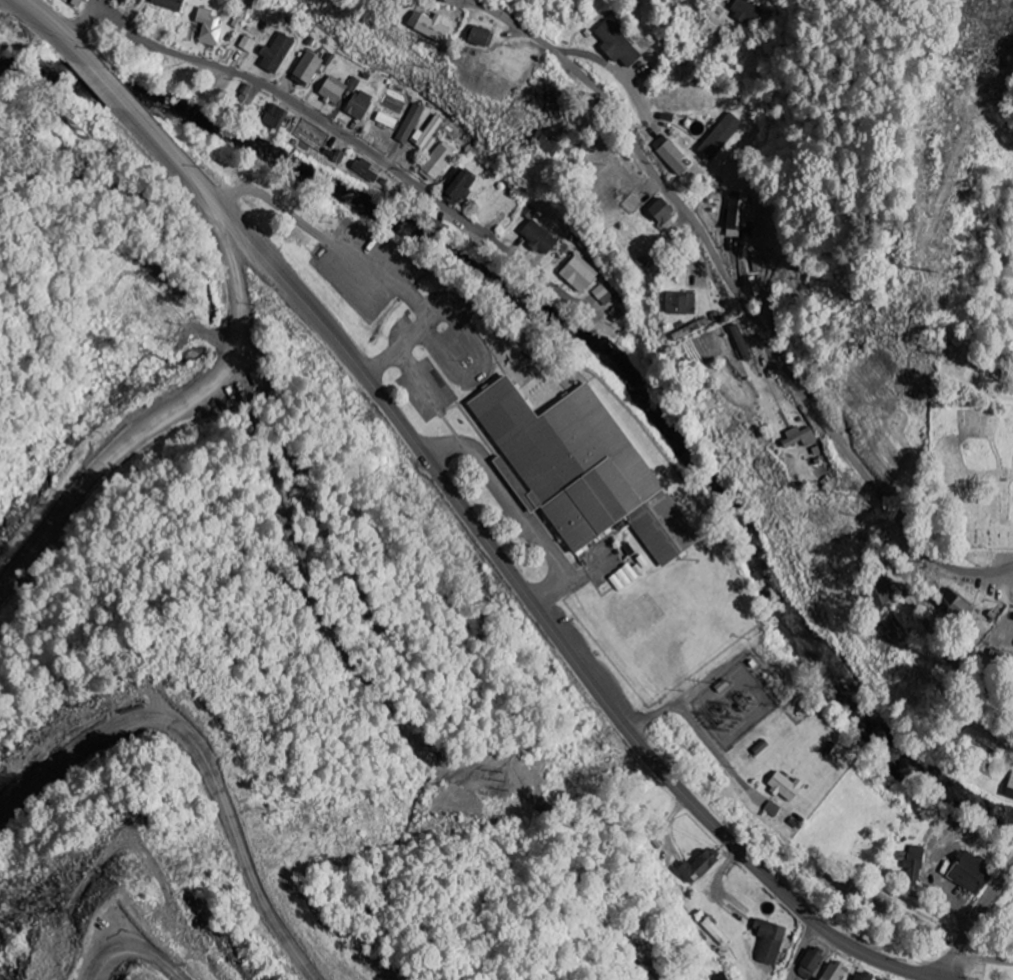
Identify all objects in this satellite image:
building: (171, 4)
building: (746, 10)
building: (241, 16)
building: (430, 26)
building: (210, 27)
building: (481, 36)
building: (247, 43)
building: (618, 45)
building: (277, 53)
building: (308, 69)
building: (338, 90)
building: (359, 105)
building: (277, 116)
building: (387, 121)
building: (410, 123)
building: (427, 133)
road: (340, 134)
building: (721, 136)
building: (547, 142)
building: (672, 156)
building: (438, 161)
building: (366, 169)
building: (462, 187)
building: (664, 212)
building: (739, 214)
building: (540, 238)
building: (758, 262)
building: (579, 273)
building: (603, 295)
building: (681, 303)
road: (766, 338)
park: (973, 374)
road: (149, 393)
building: (800, 437)
building: (582, 470)
park: (971, 471)
road: (896, 488)
road: (460, 507)
road: (960, 568)
building: (624, 578)
building: (878, 591)
building: (953, 603)
road: (697, 727)
building: (980, 735)
building: (787, 786)
building: (1010, 787)
building: (773, 809)
building: (913, 862)
building: (700, 866)
building: (972, 873)
road: (973, 920)
road: (991, 930)
building: (770, 941)
road: (801, 953)
road: (982, 960)
building: (811, 963)
building: (835, 972)
building: (722, 976)
building: (861, 976)
road: (796, 977)
road: (659, 978)

